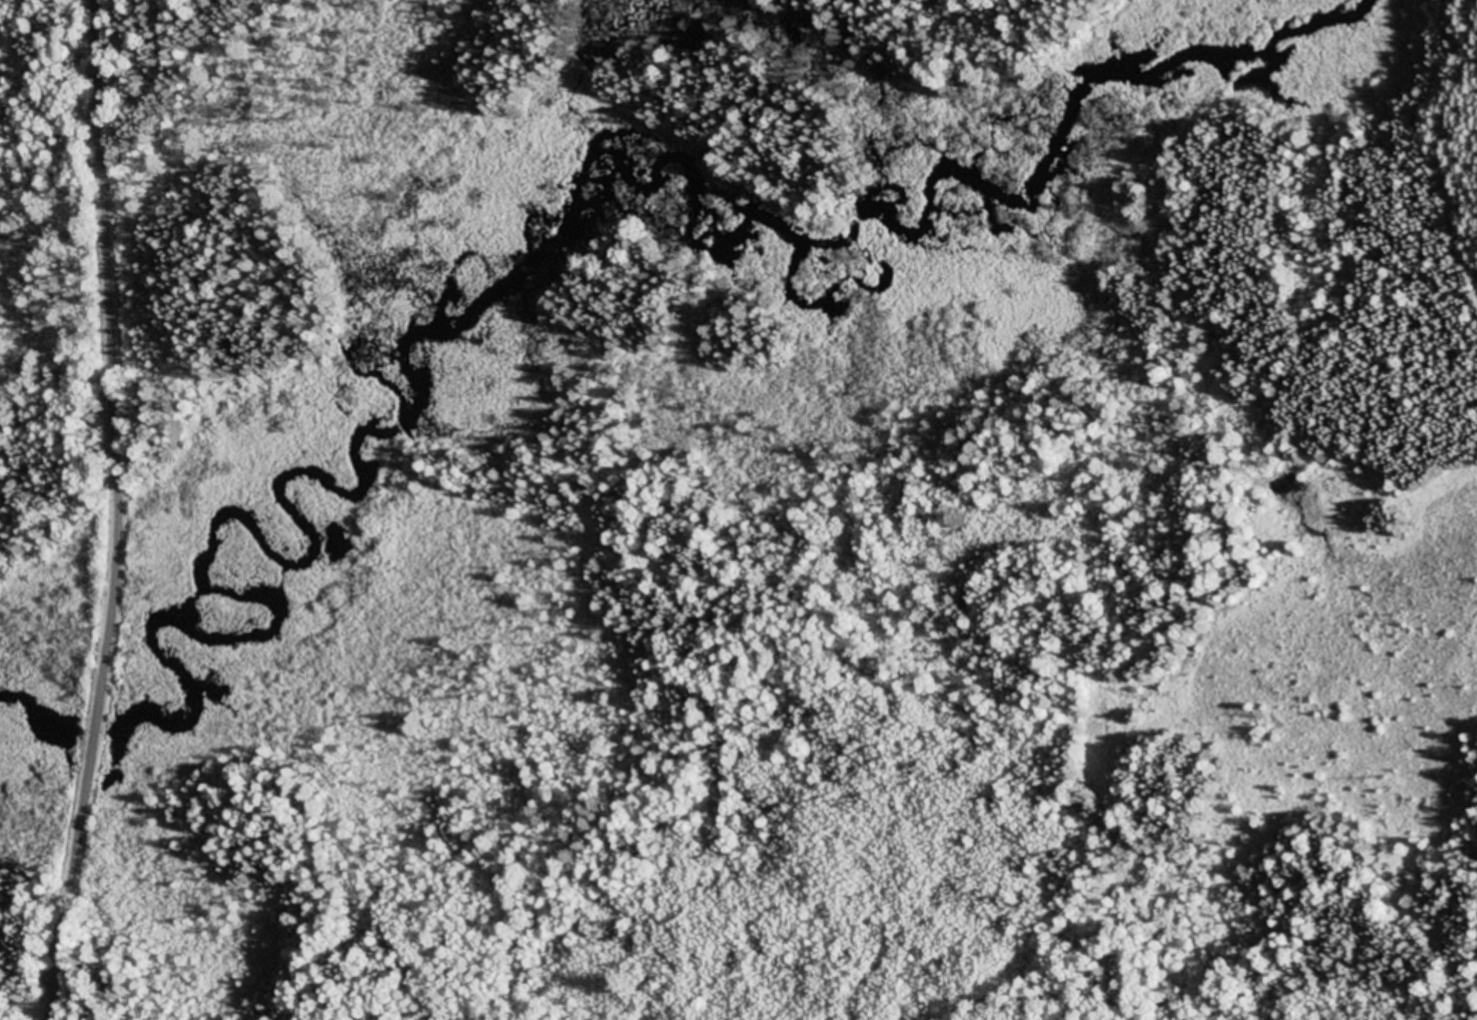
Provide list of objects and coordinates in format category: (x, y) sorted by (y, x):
road: (117, 512)

